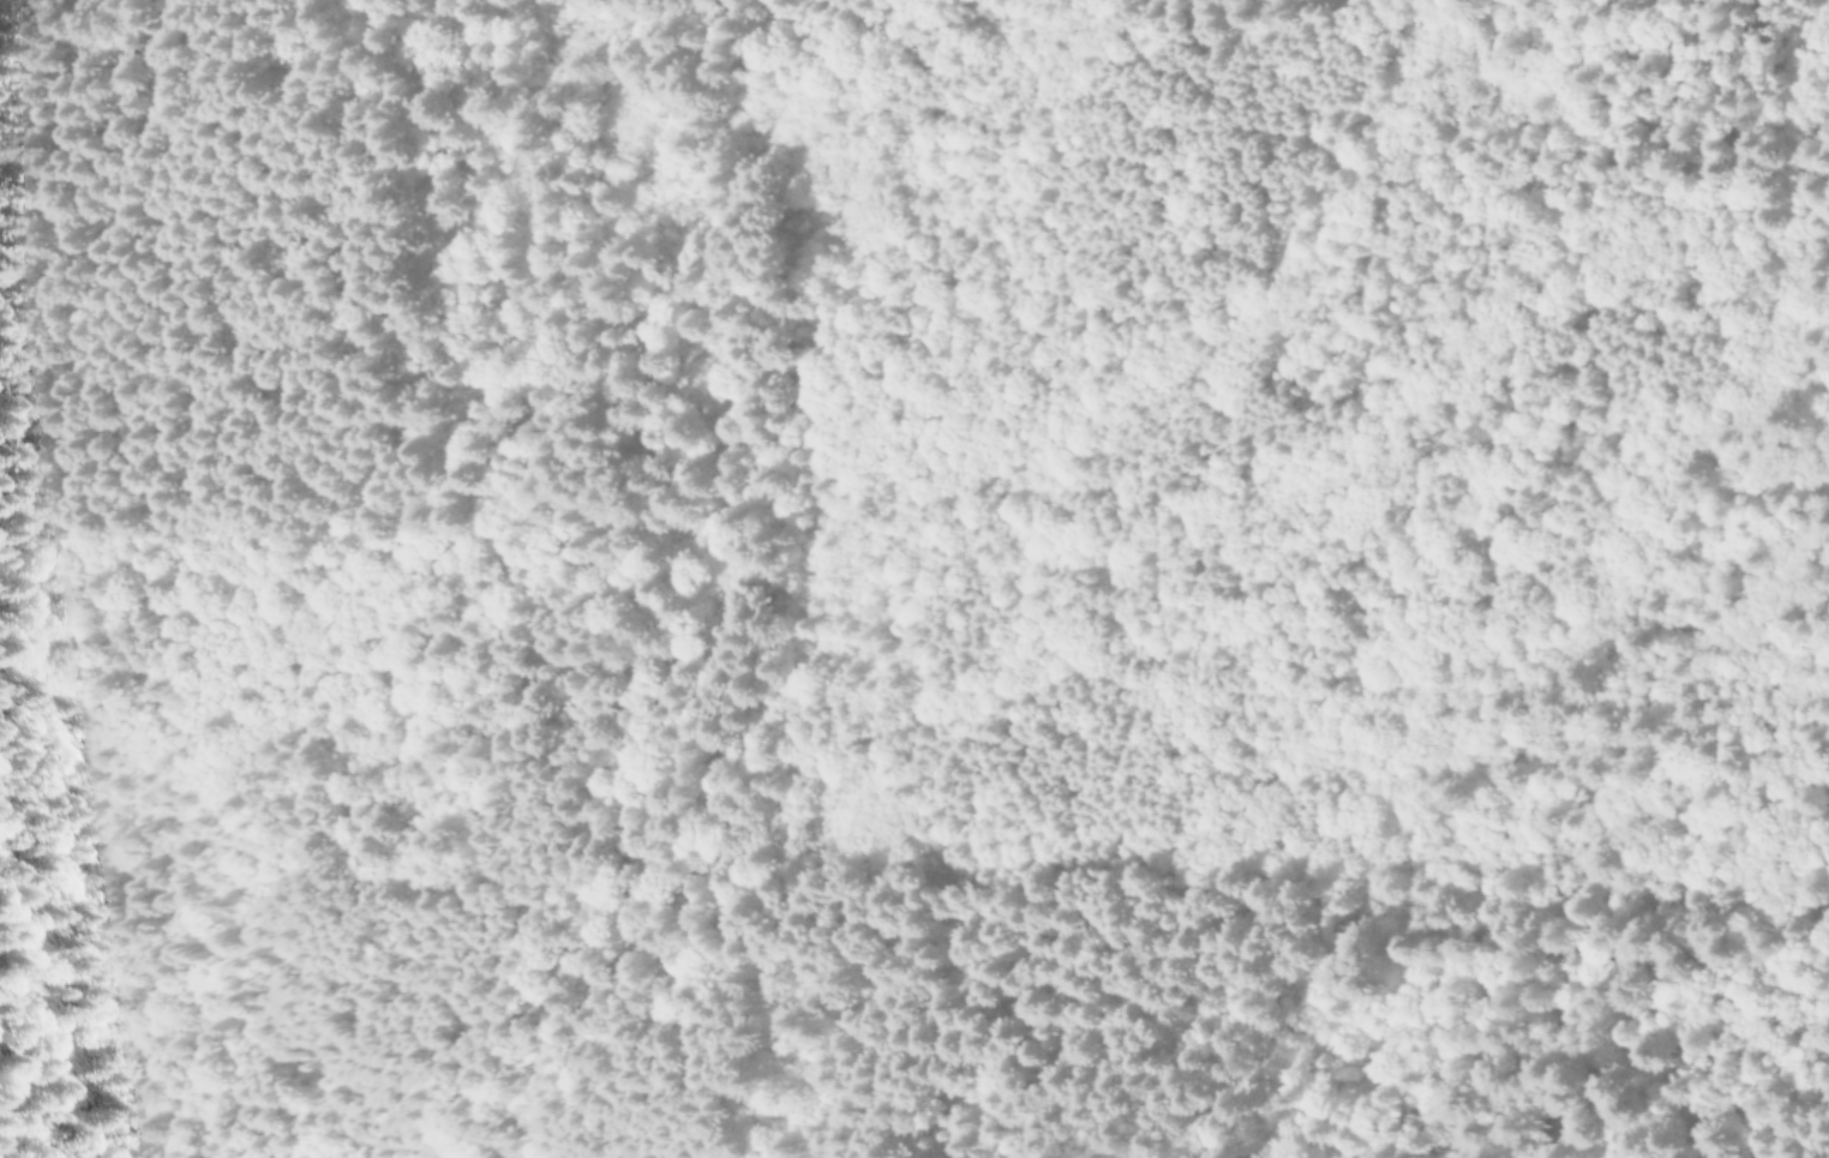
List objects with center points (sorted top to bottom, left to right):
road: (1759, 244)

